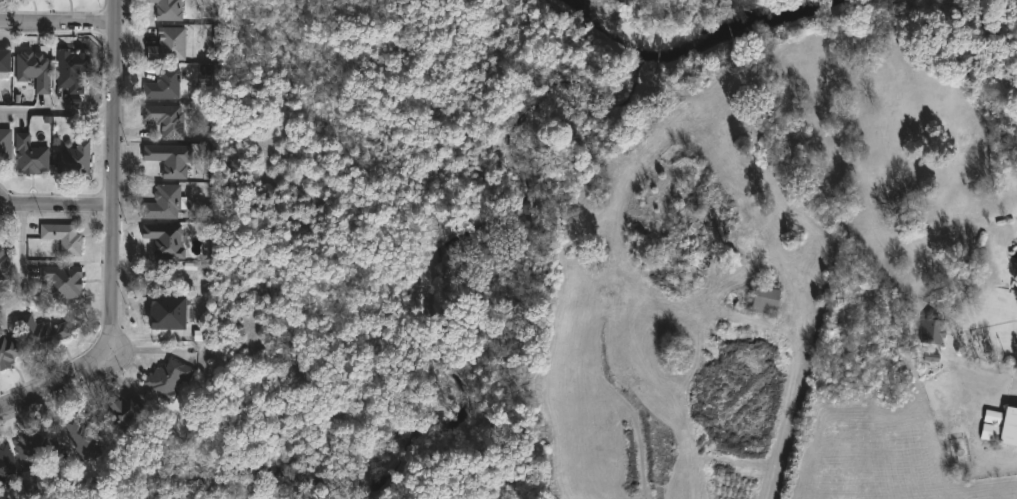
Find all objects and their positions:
building: (166, 9)
park: (687, 9)
road: (56, 29)
building: (166, 44)
building: (3, 60)
building: (70, 66)
building: (33, 68)
building: (162, 84)
road: (56, 108)
building: (164, 118)
building: (4, 142)
building: (29, 154)
building: (73, 157)
building: (168, 158)
road: (112, 184)
building: (161, 204)
road: (55, 209)
building: (62, 236)
building: (164, 241)
road: (20, 262)
building: (2, 263)
building: (60, 282)
building: (763, 298)
building: (167, 312)
building: (42, 331)
building: (932, 331)
building: (8, 349)
building: (166, 377)
road: (47, 387)
road: (790, 396)
building: (123, 411)
building: (999, 424)
building: (82, 437)
building: (34, 448)
building: (6, 462)

